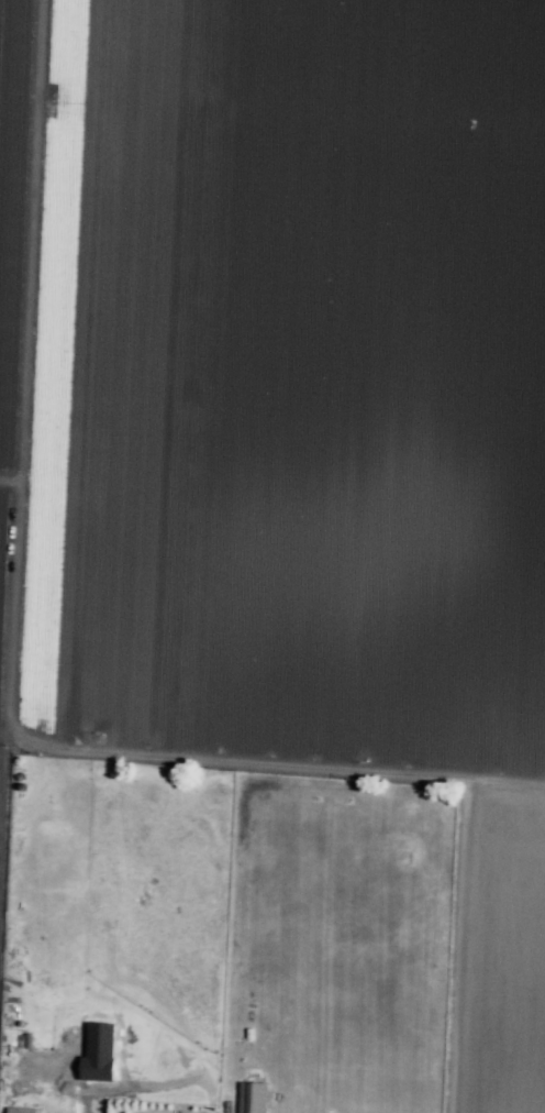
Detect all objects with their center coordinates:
crop: (289, 411)
building: (26, 1044)
building: (253, 1100)
building: (26, 1110)

